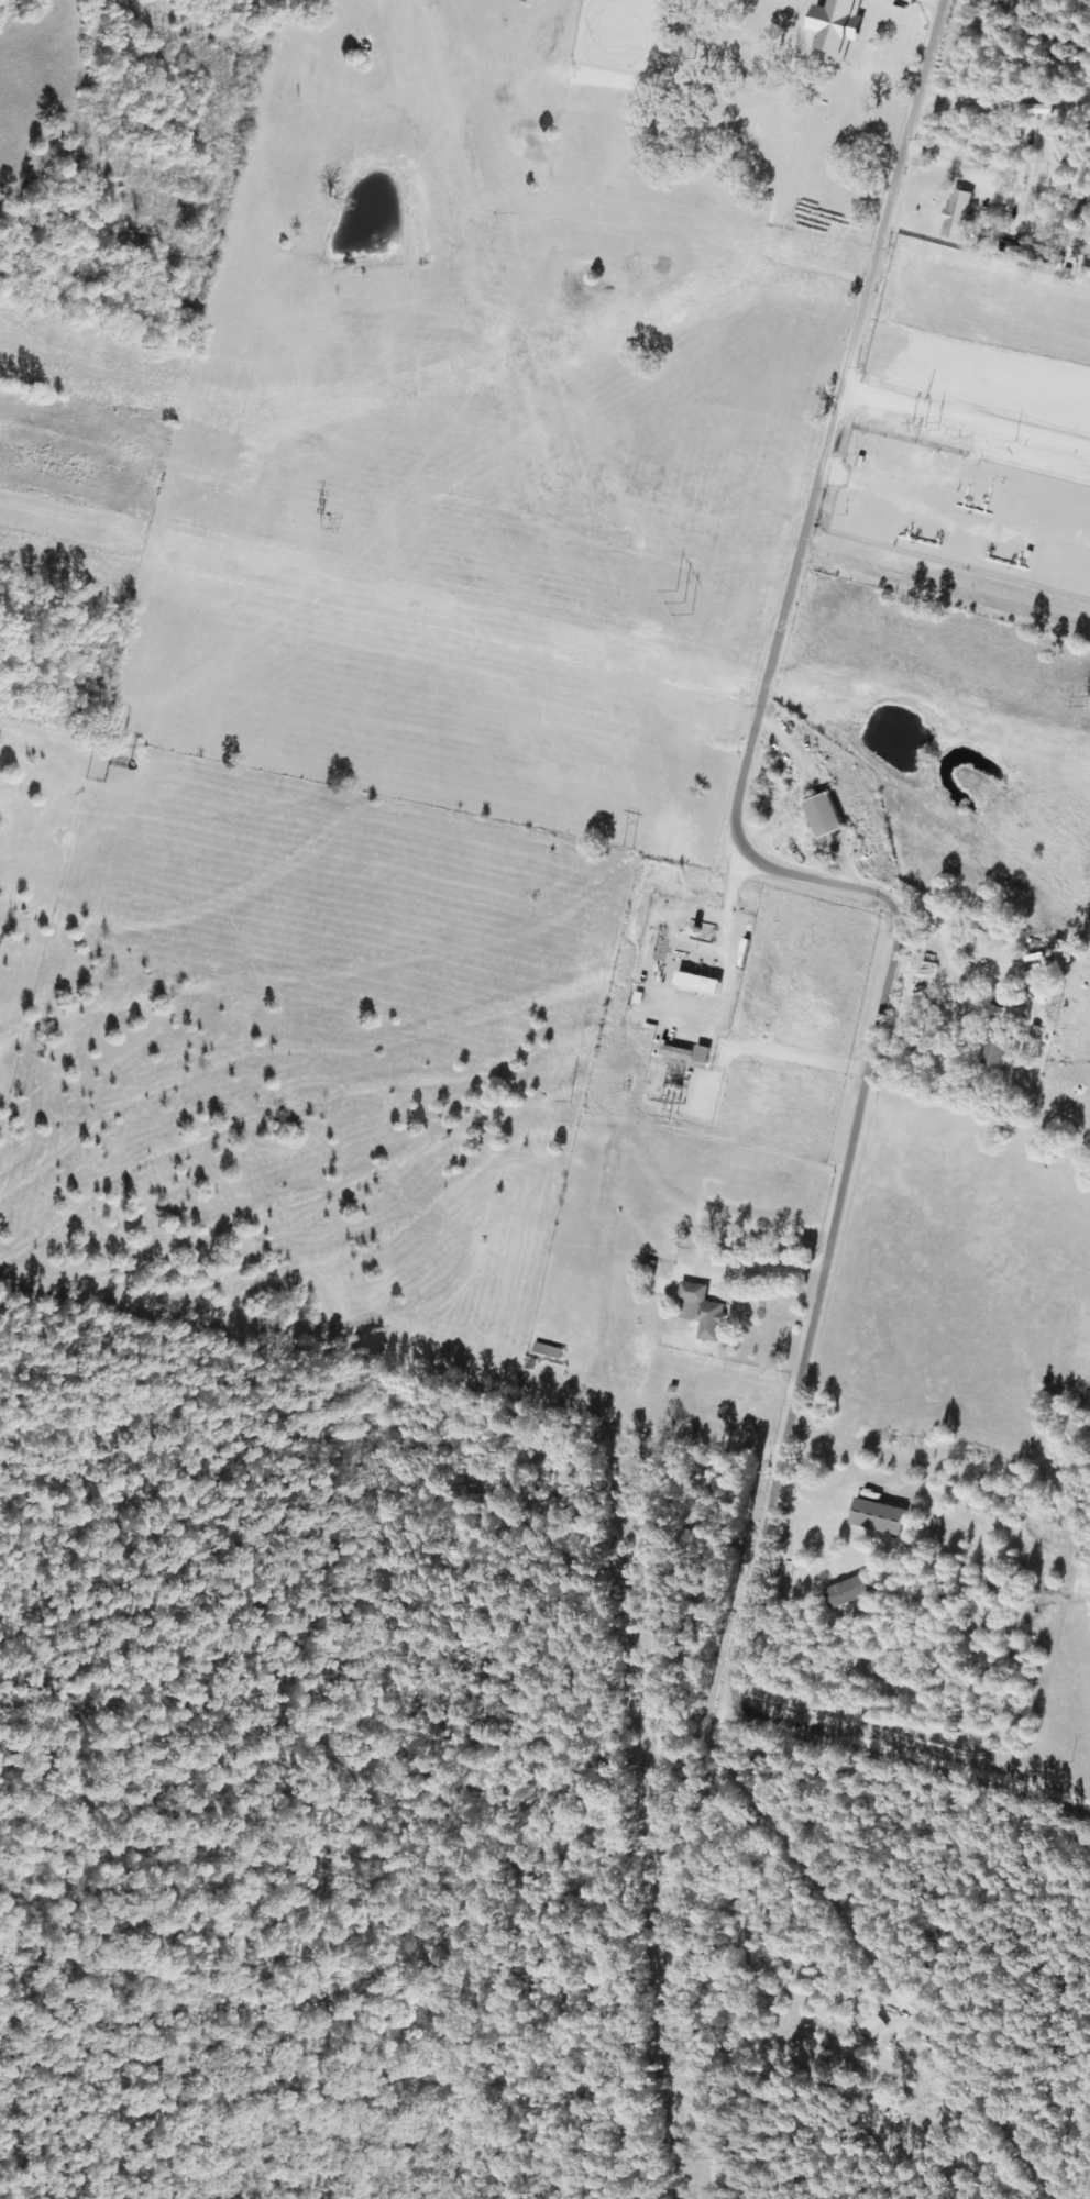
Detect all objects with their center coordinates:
building: (828, 2)
building: (956, 210)
building: (1074, 211)
power tower: (321, 519)
power tower: (683, 601)
power tower: (1086, 698)
building: (819, 815)
power tower: (629, 849)
building: (1011, 1016)
building: (685, 1053)
building: (991, 1053)
power substation: (682, 1086)
road: (857, 1099)
building: (659, 1285)
building: (700, 1311)
building: (547, 1349)
road: (932, 1469)
building: (876, 1516)
road: (917, 1692)
building: (869, 2022)

